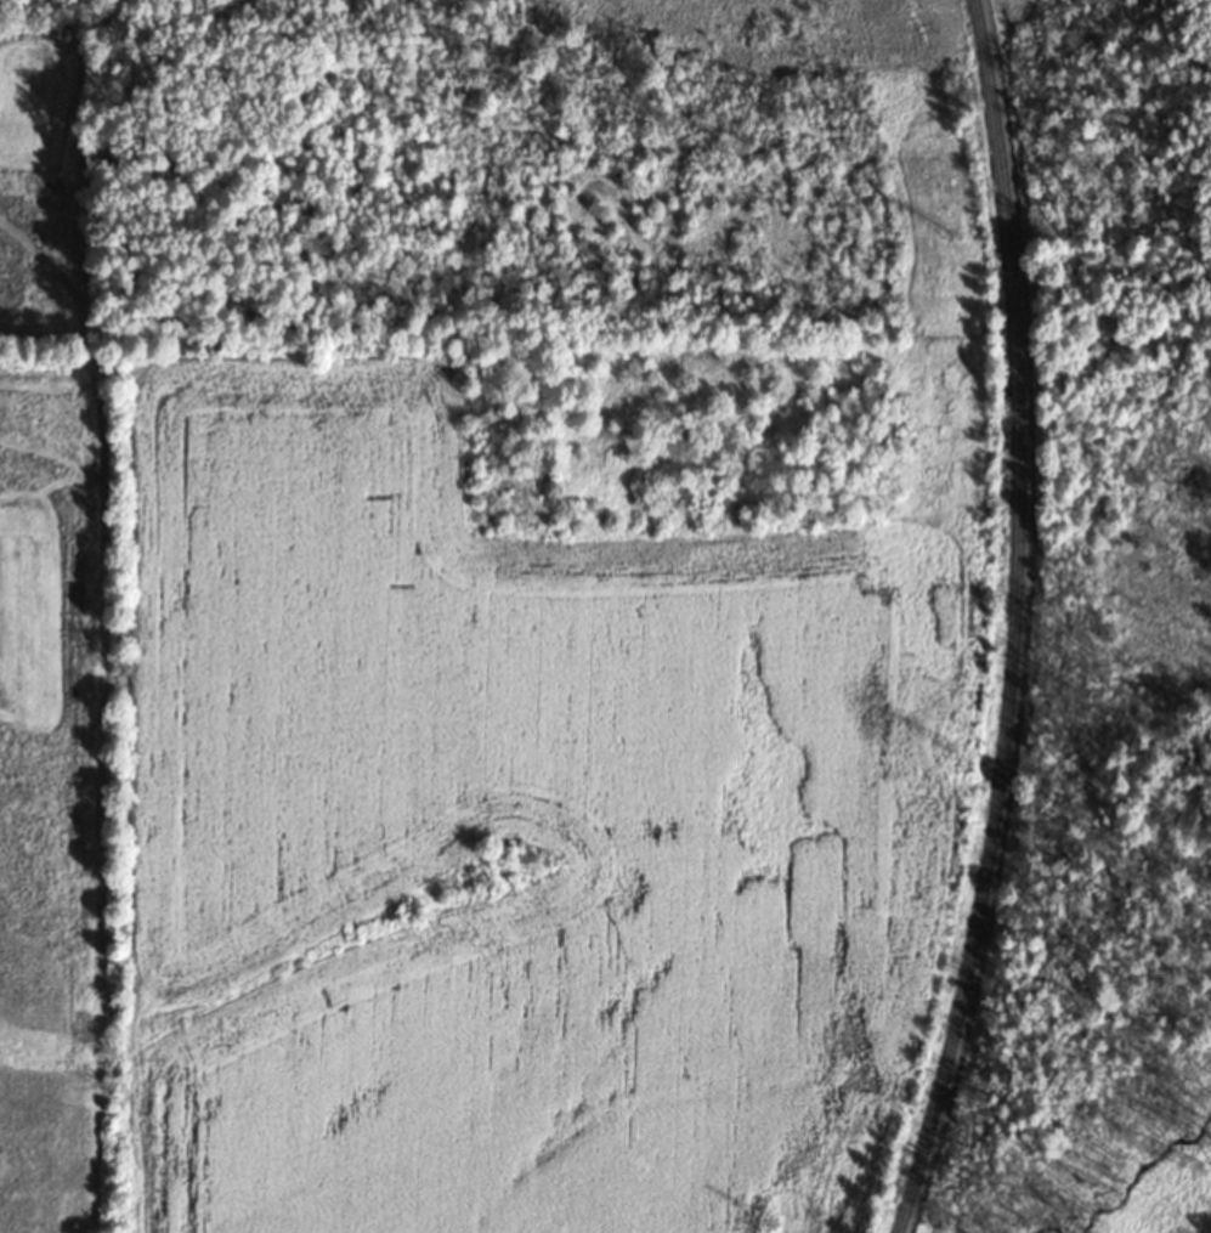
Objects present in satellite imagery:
railway: (1026, 621)

